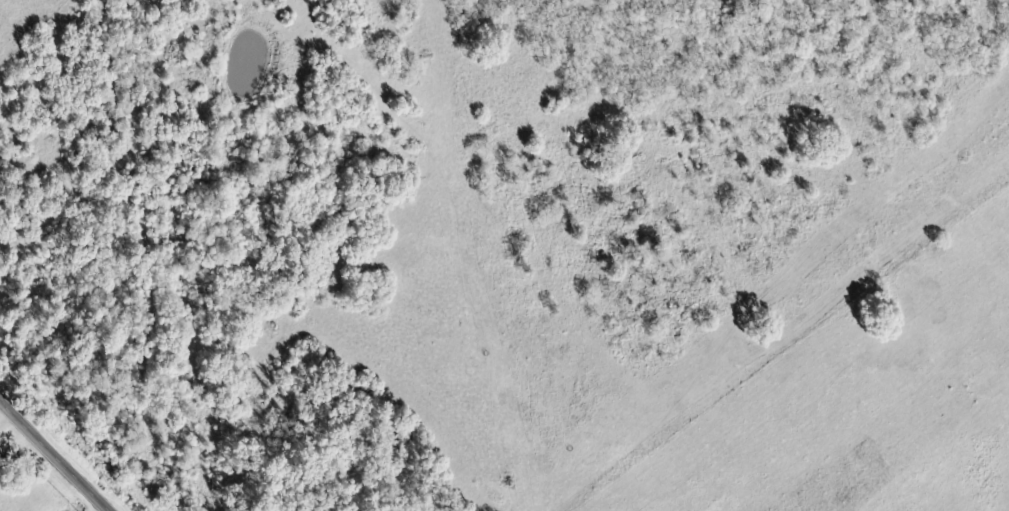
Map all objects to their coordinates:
road: (808, 270)
road: (59, 452)

